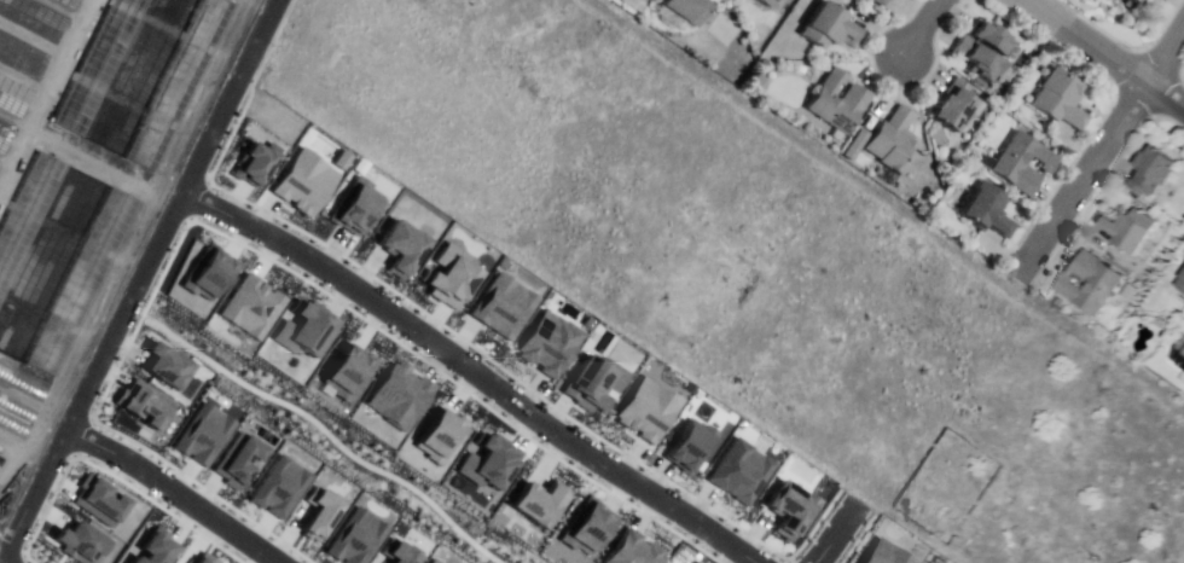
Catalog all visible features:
building: (642, 0)
building: (1157, 0)
building: (764, 1)
building: (880, 1)
building: (888, 1)
building: (1136, 1)
building: (686, 7)
road: (922, 25)
building: (831, 28)
building: (989, 36)
road: (1104, 53)
building: (975, 54)
building: (95, 64)
building: (175, 85)
road: (43, 89)
building: (1056, 95)
building: (820, 101)
building: (954, 105)
building: (890, 137)
road: (1104, 146)
building: (1020, 161)
building: (251, 163)
building: (1154, 169)
building: (301, 181)
building: (353, 209)
building: (987, 210)
building: (27, 213)
building: (1121, 227)
building: (397, 246)
building: (204, 272)
building: (80, 278)
road: (138, 278)
building: (446, 281)
building: (1089, 281)
building: (1182, 284)
building: (248, 304)
building: (500, 304)
building: (307, 327)
building: (545, 343)
building: (1179, 350)
building: (164, 362)
building: (344, 370)
road: (470, 372)
building: (593, 381)
building: (396, 394)
building: (139, 401)
building: (644, 408)
road: (324, 433)
building: (201, 434)
building: (437, 434)
building: (687, 447)
building: (236, 459)
building: (487, 462)
building: (736, 471)
building: (277, 486)
road: (170, 495)
building: (97, 500)
building: (535, 501)
building: (787, 507)
building: (317, 512)
building: (584, 526)
road: (834, 533)
building: (353, 536)
building: (77, 542)
building: (153, 547)
building: (631, 550)
building: (397, 553)
building: (881, 553)
building: (202, 558)
road: (4, 561)
building: (430, 561)
building: (692, 562)

